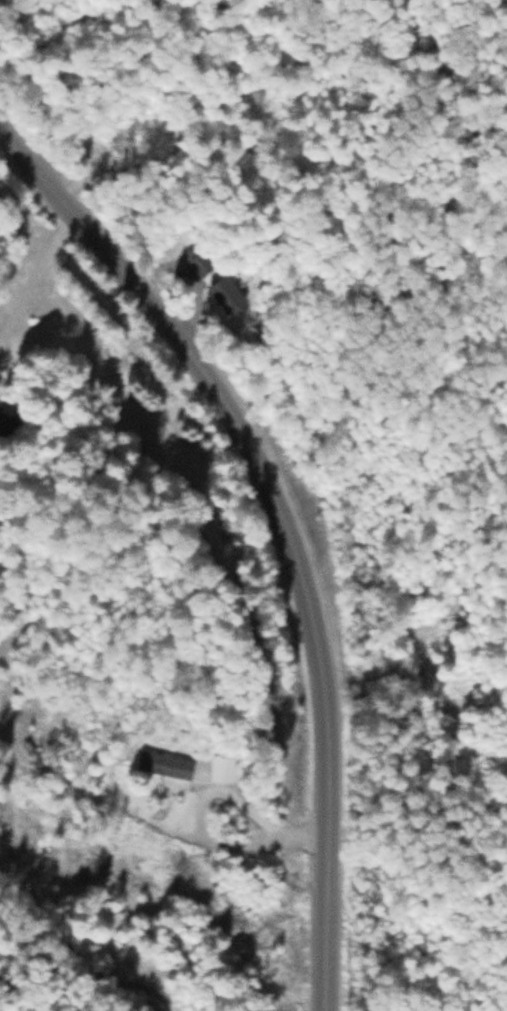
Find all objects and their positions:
building: (201, 264)
building: (225, 293)
building: (6, 418)
road: (288, 524)
building: (164, 763)
building: (223, 767)

